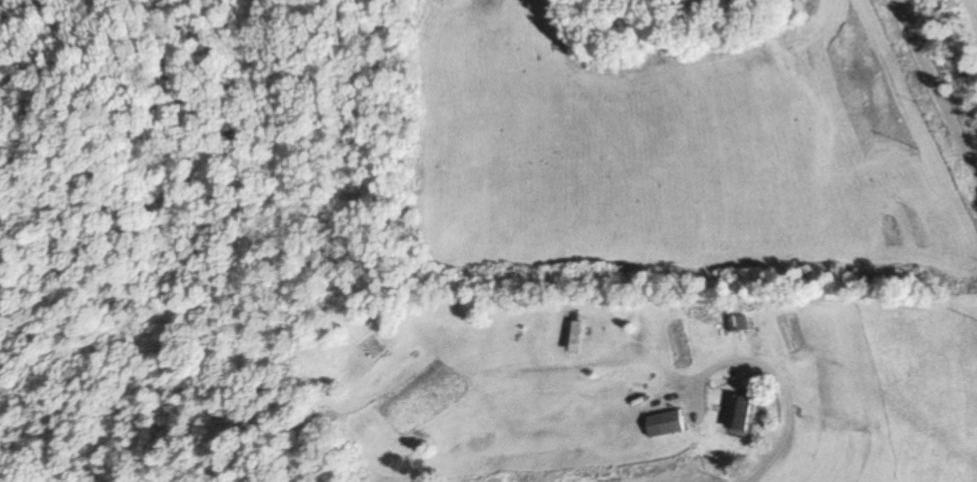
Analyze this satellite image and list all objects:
road: (935, 90)
building: (736, 412)
building: (665, 423)
road: (786, 425)

